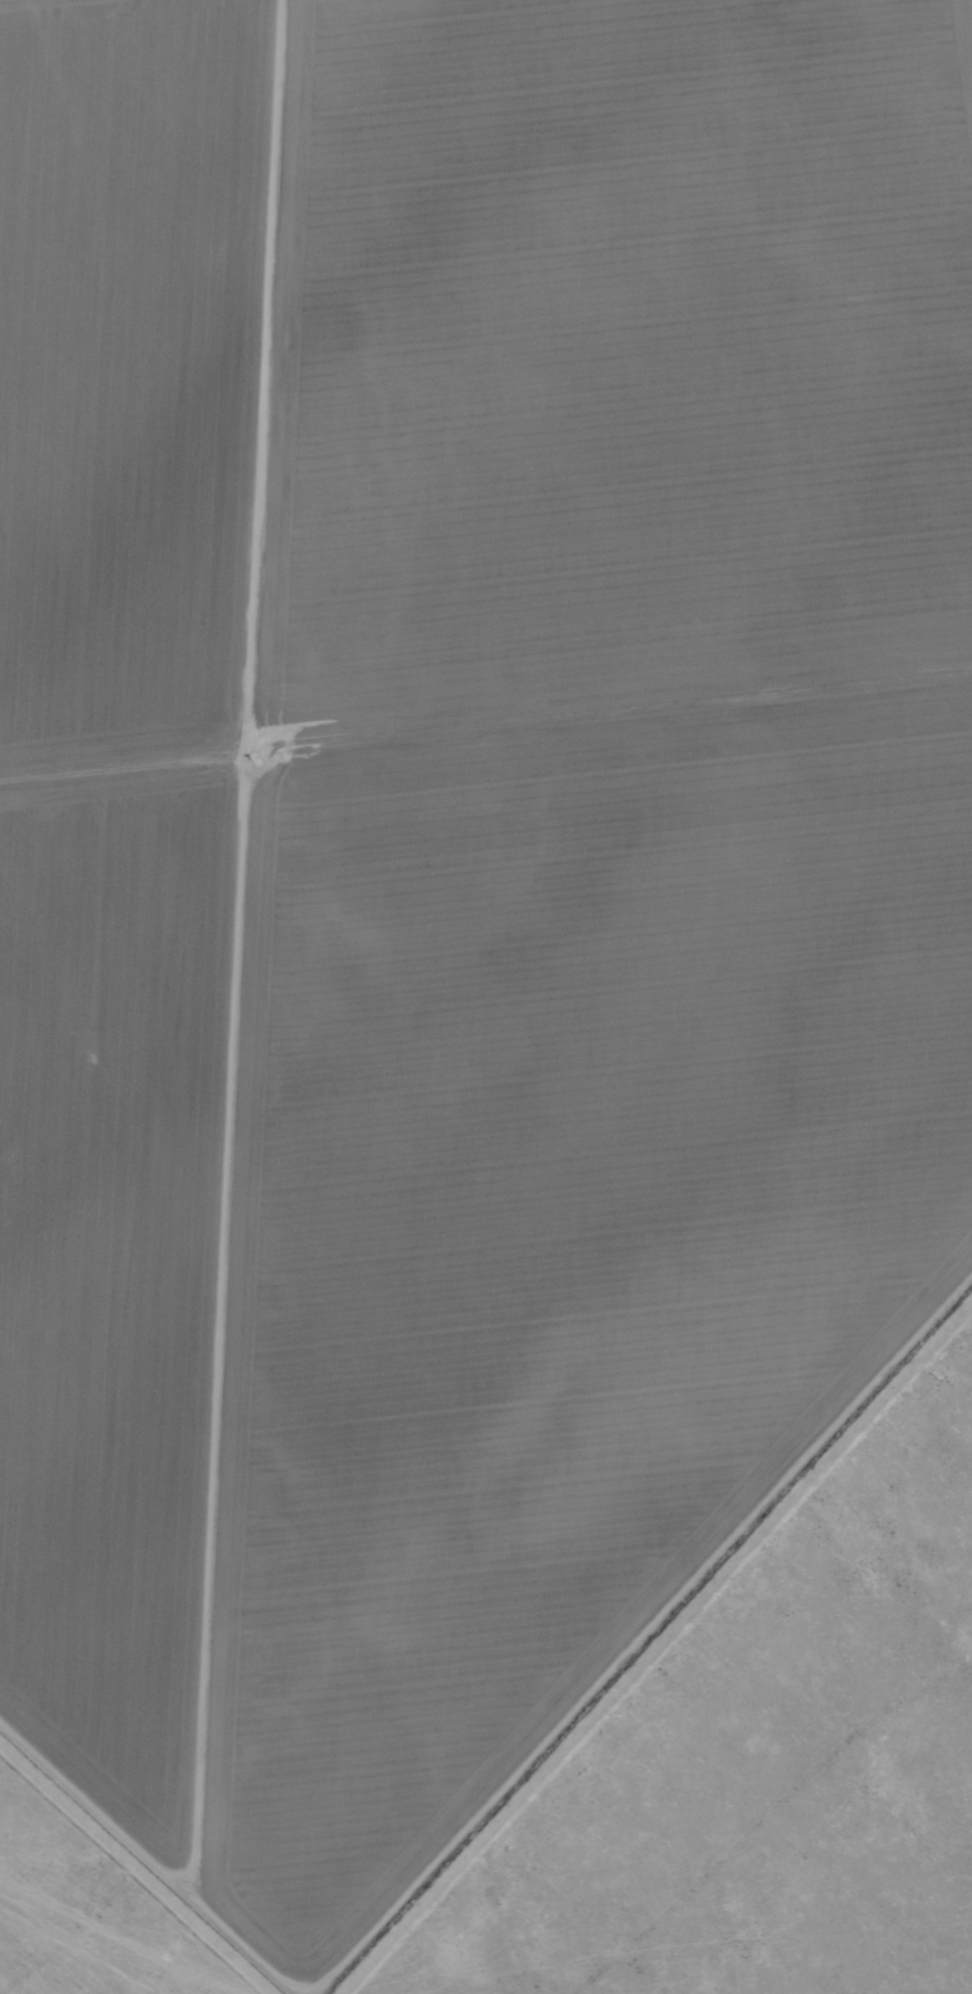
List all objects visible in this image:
crop: (463, 797)

